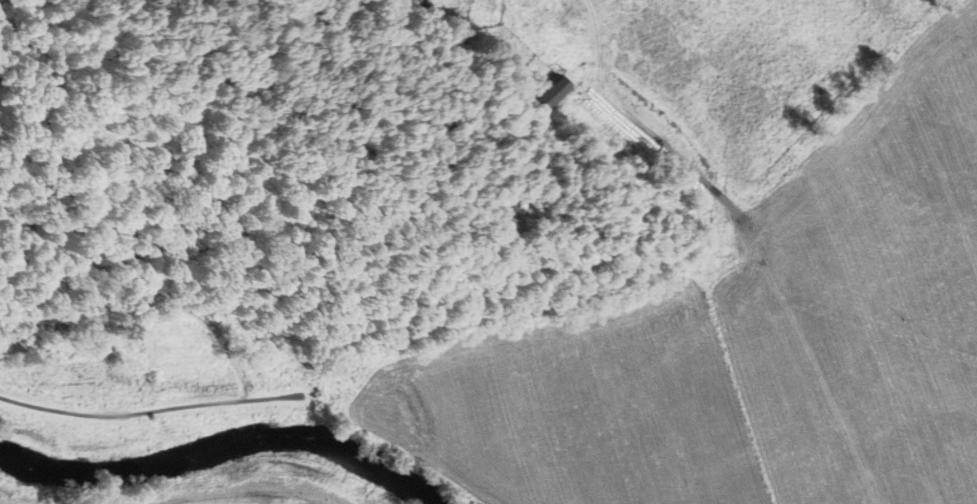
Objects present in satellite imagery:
road: (73, 57)
building: (551, 92)
road: (153, 243)
park: (141, 260)
road: (765, 273)
road: (209, 316)
road: (150, 412)
river: (216, 446)

